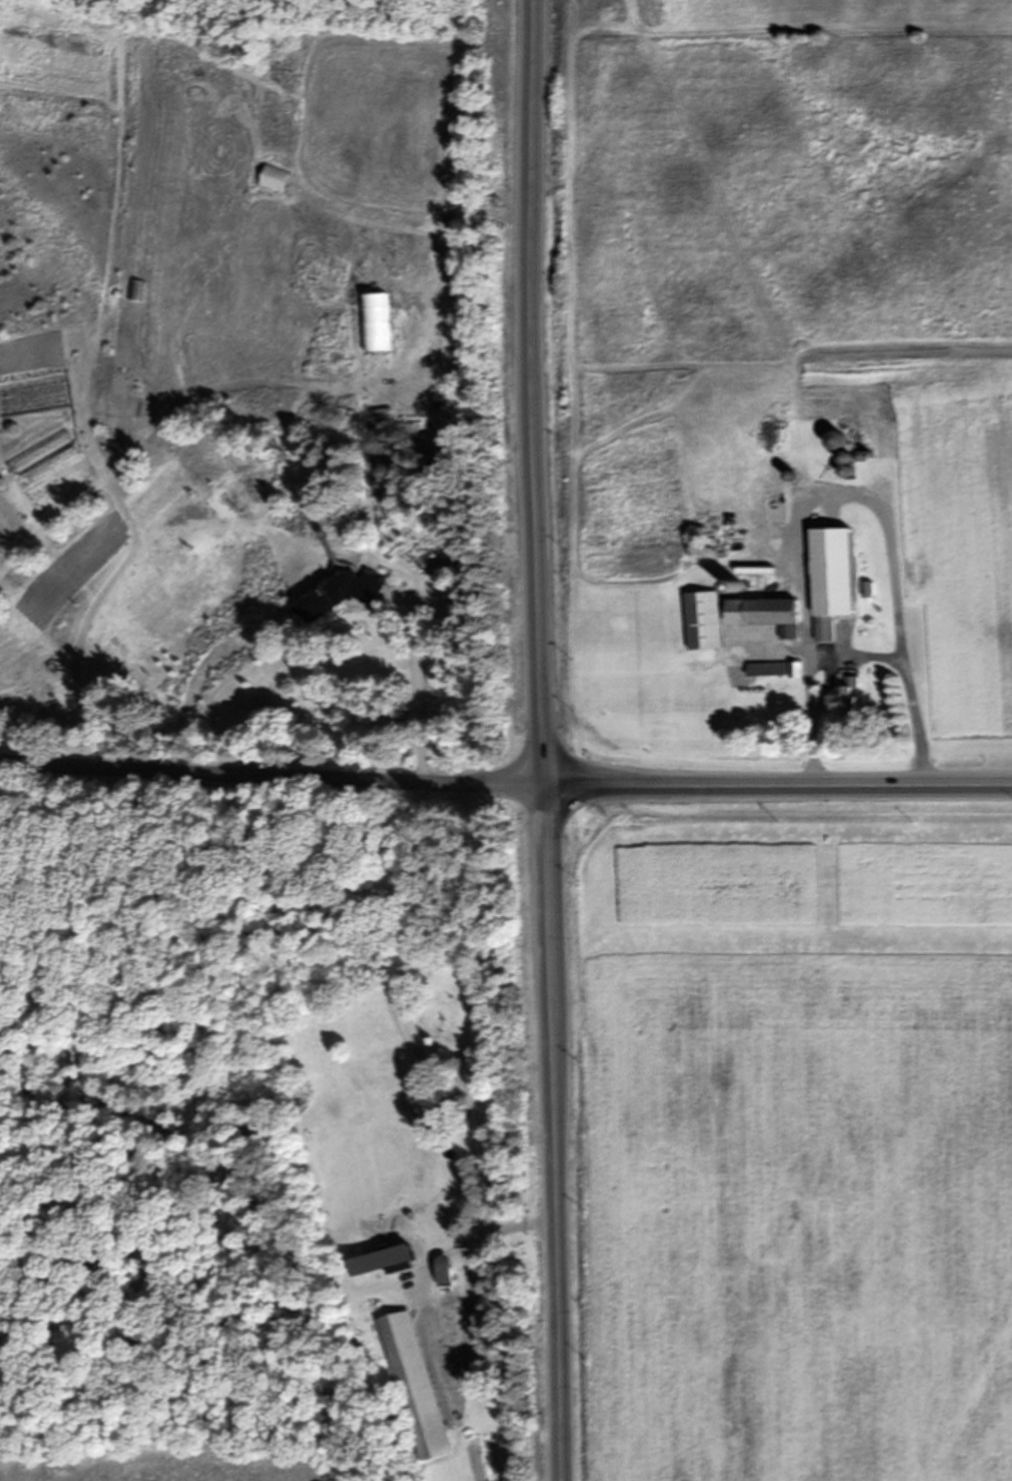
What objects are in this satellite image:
road: (535, 389)
road: (839, 492)
building: (829, 581)
road: (92, 591)
building: (339, 596)
building: (764, 616)
building: (702, 622)
building: (757, 665)
building: (792, 672)
road: (412, 687)
building: (753, 695)
building: (841, 697)
road: (275, 769)
road: (781, 778)
road: (391, 1017)
building: (438, 1022)
building: (416, 1108)
road: (559, 1129)
building: (445, 1273)
road: (459, 1349)
building: (416, 1387)

